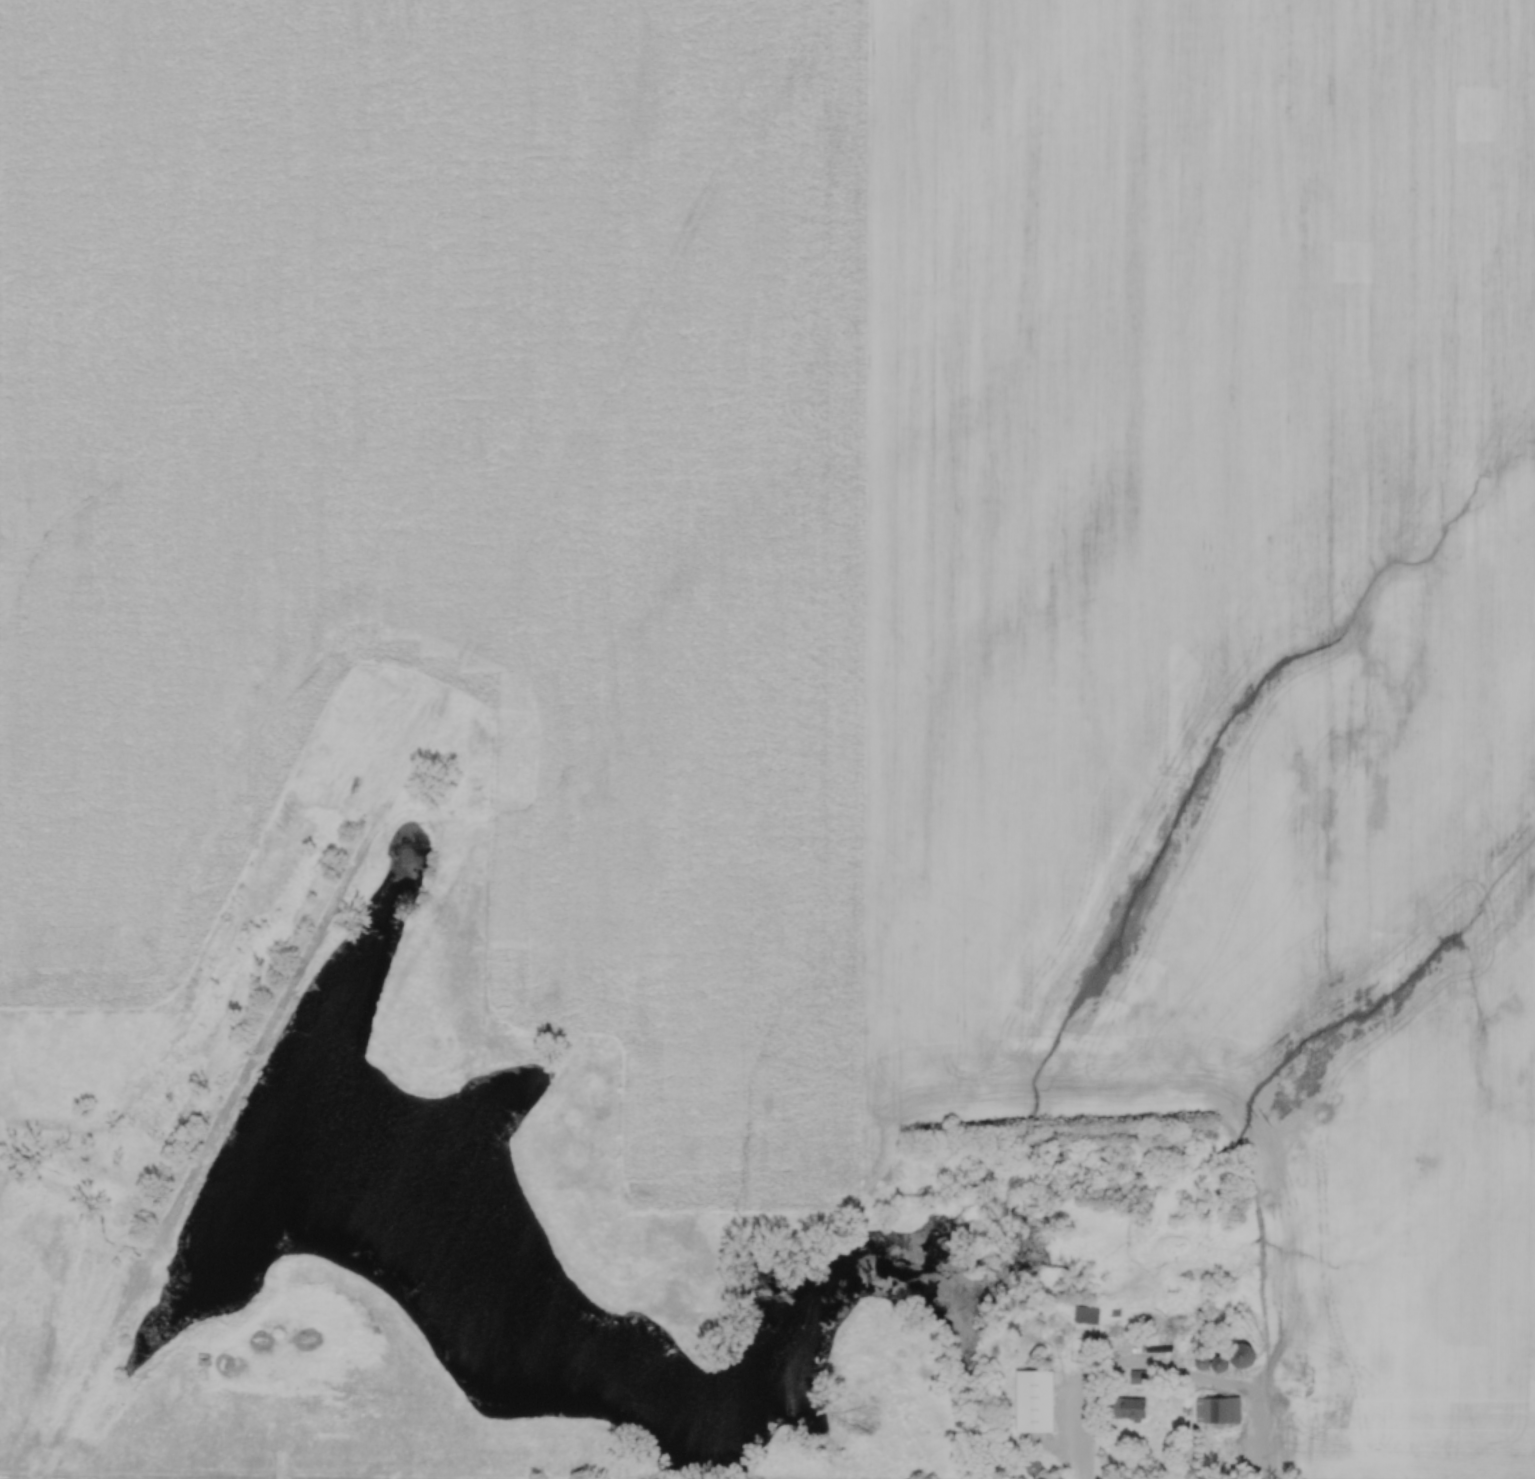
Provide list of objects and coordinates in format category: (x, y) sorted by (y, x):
building: (1090, 1315)
road: (1162, 1371)
building: (1037, 1400)
building: (1220, 1411)

